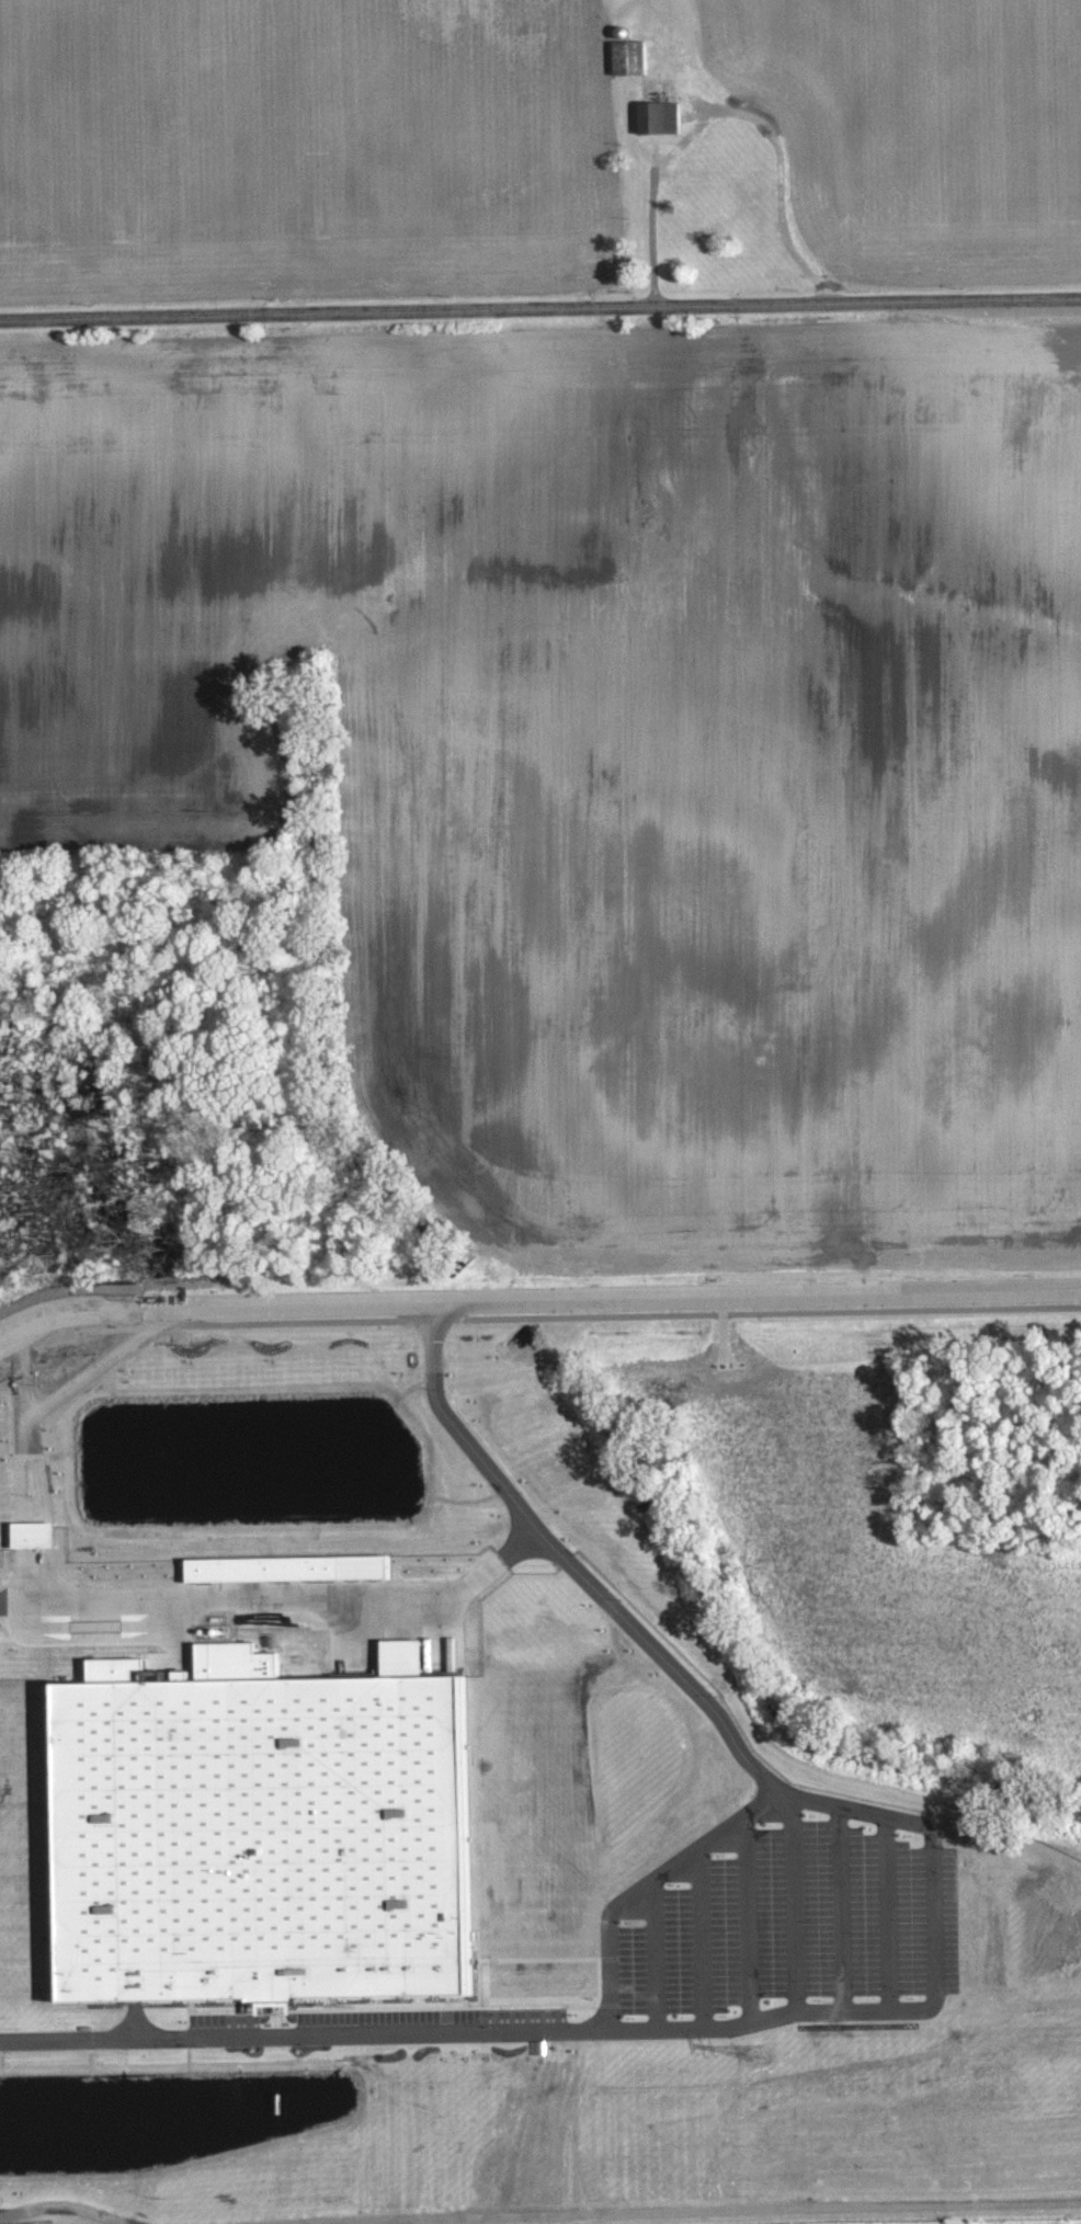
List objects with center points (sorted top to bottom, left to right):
building: (626, 57)
road: (729, 112)
road: (540, 309)
road: (789, 1296)
road: (480, 1298)
road: (326, 1300)
building: (25, 1532)
road: (570, 1562)
building: (312, 1566)
road: (104, 1605)
road: (18, 1606)
building: (260, 1832)
road: (648, 1887)
parking lot: (795, 1924)
road: (538, 1959)
road: (631, 2028)
power tower: (758, 2051)

